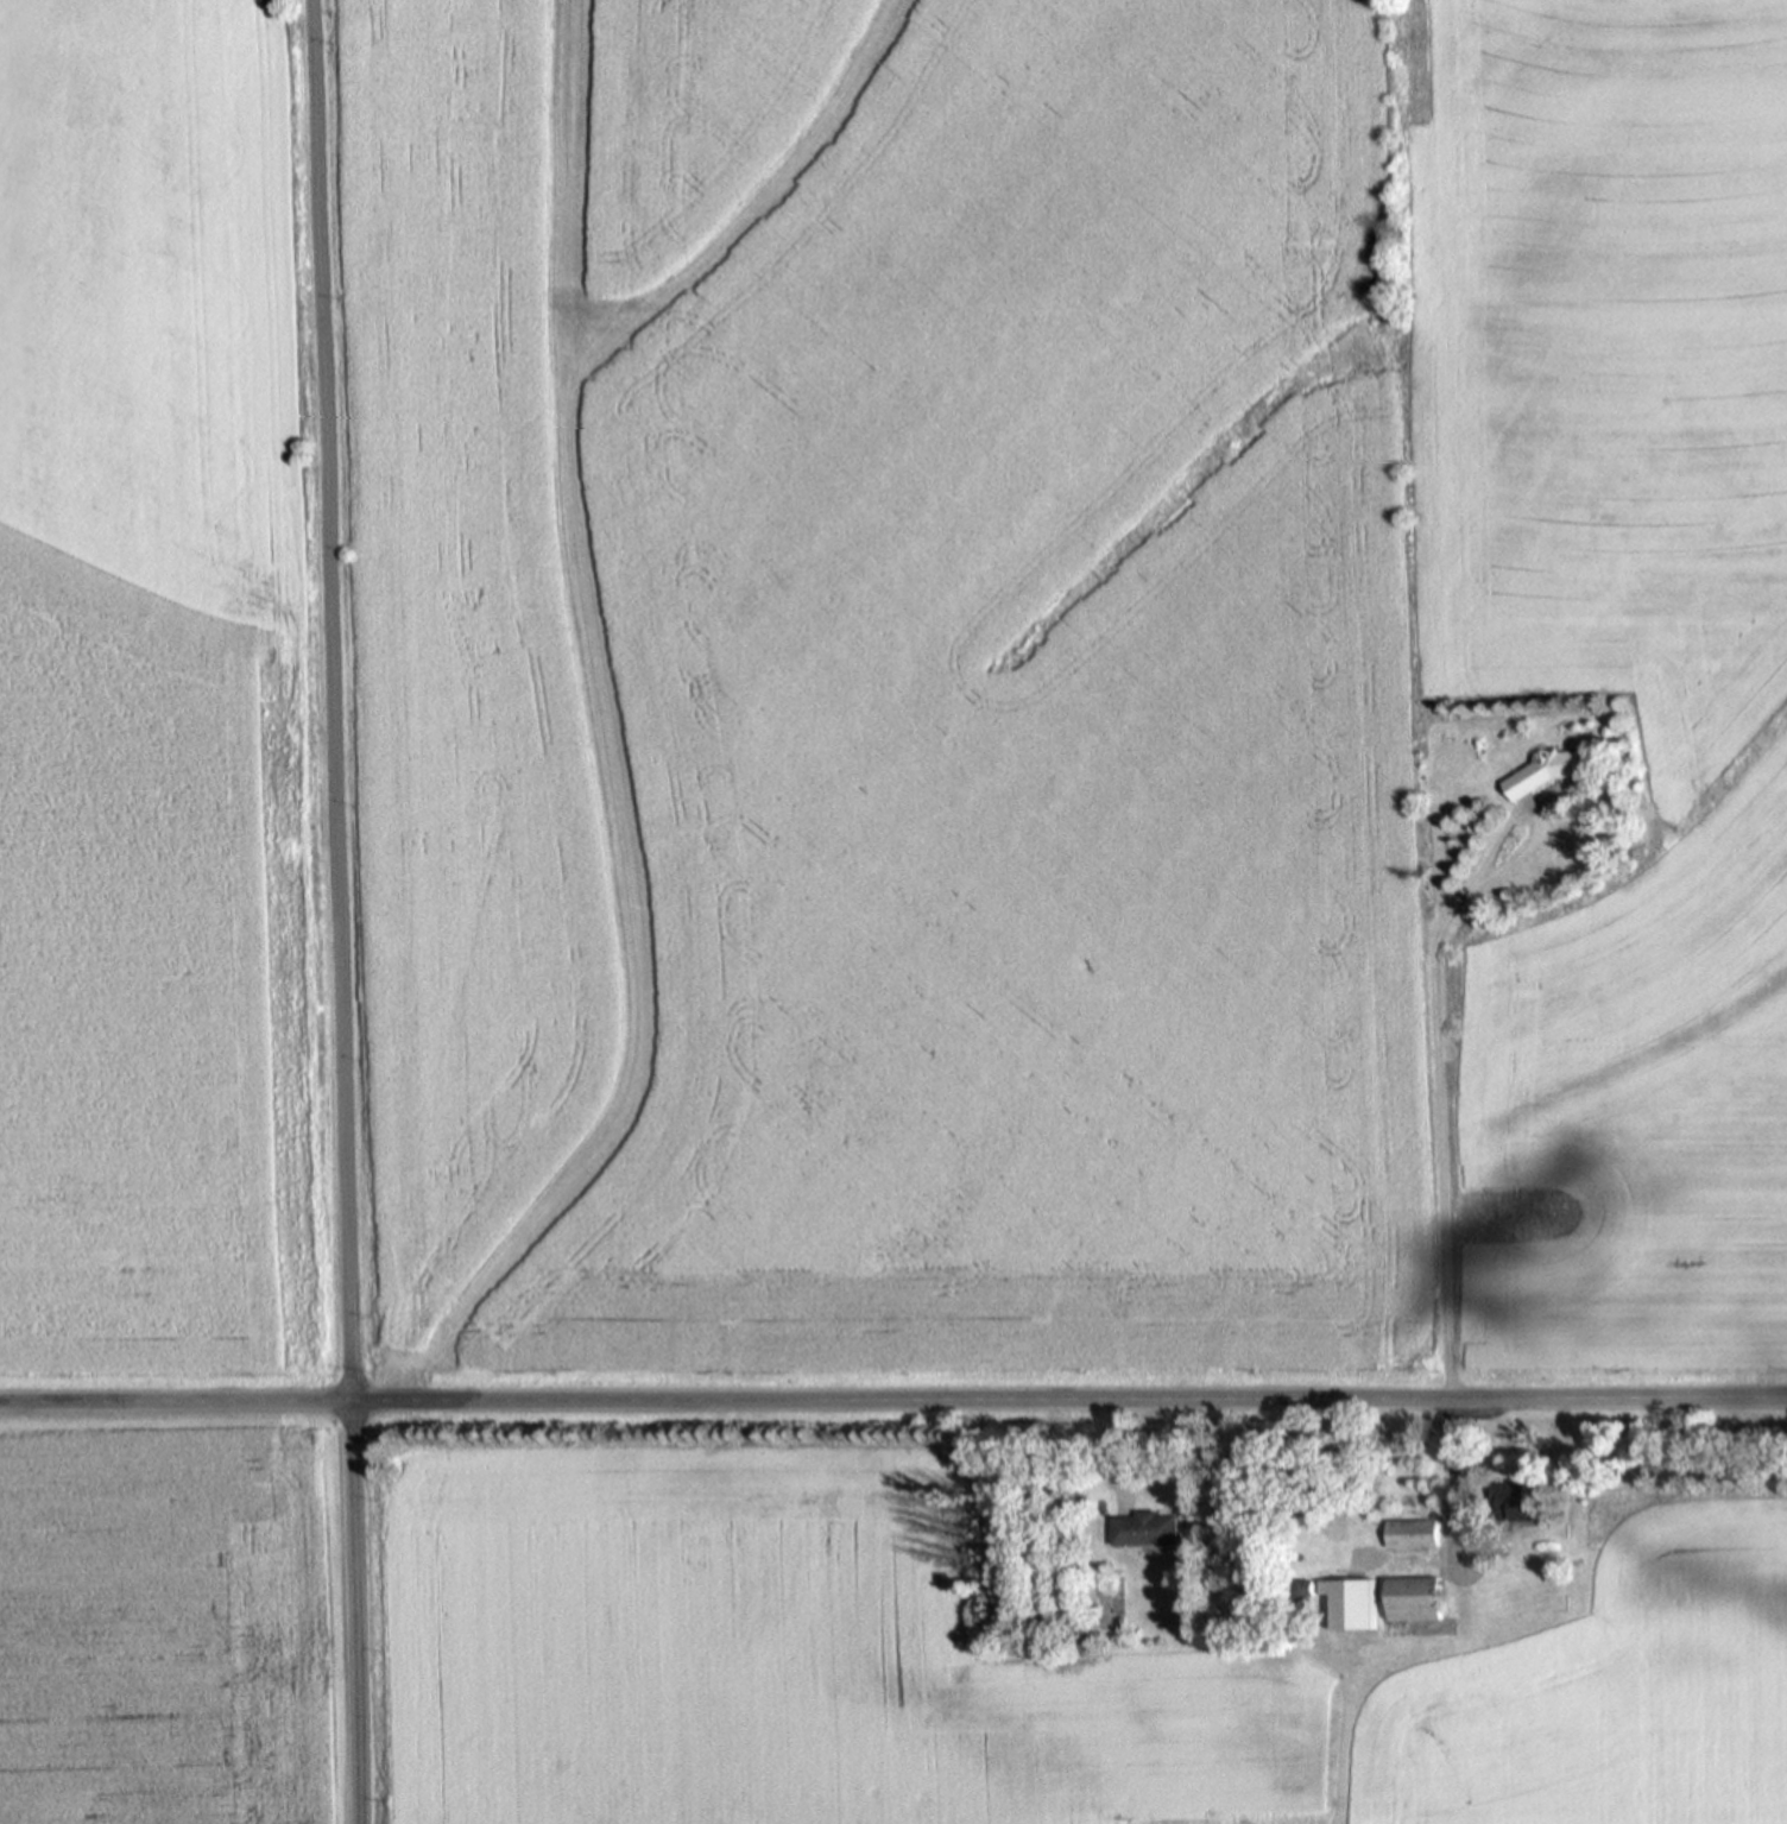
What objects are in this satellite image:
building: (1549, 769)
road: (335, 911)
road: (892, 1399)
building: (1517, 1502)
building: (1143, 1528)
building: (1412, 1532)
building: (1416, 1598)
building: (1351, 1603)

